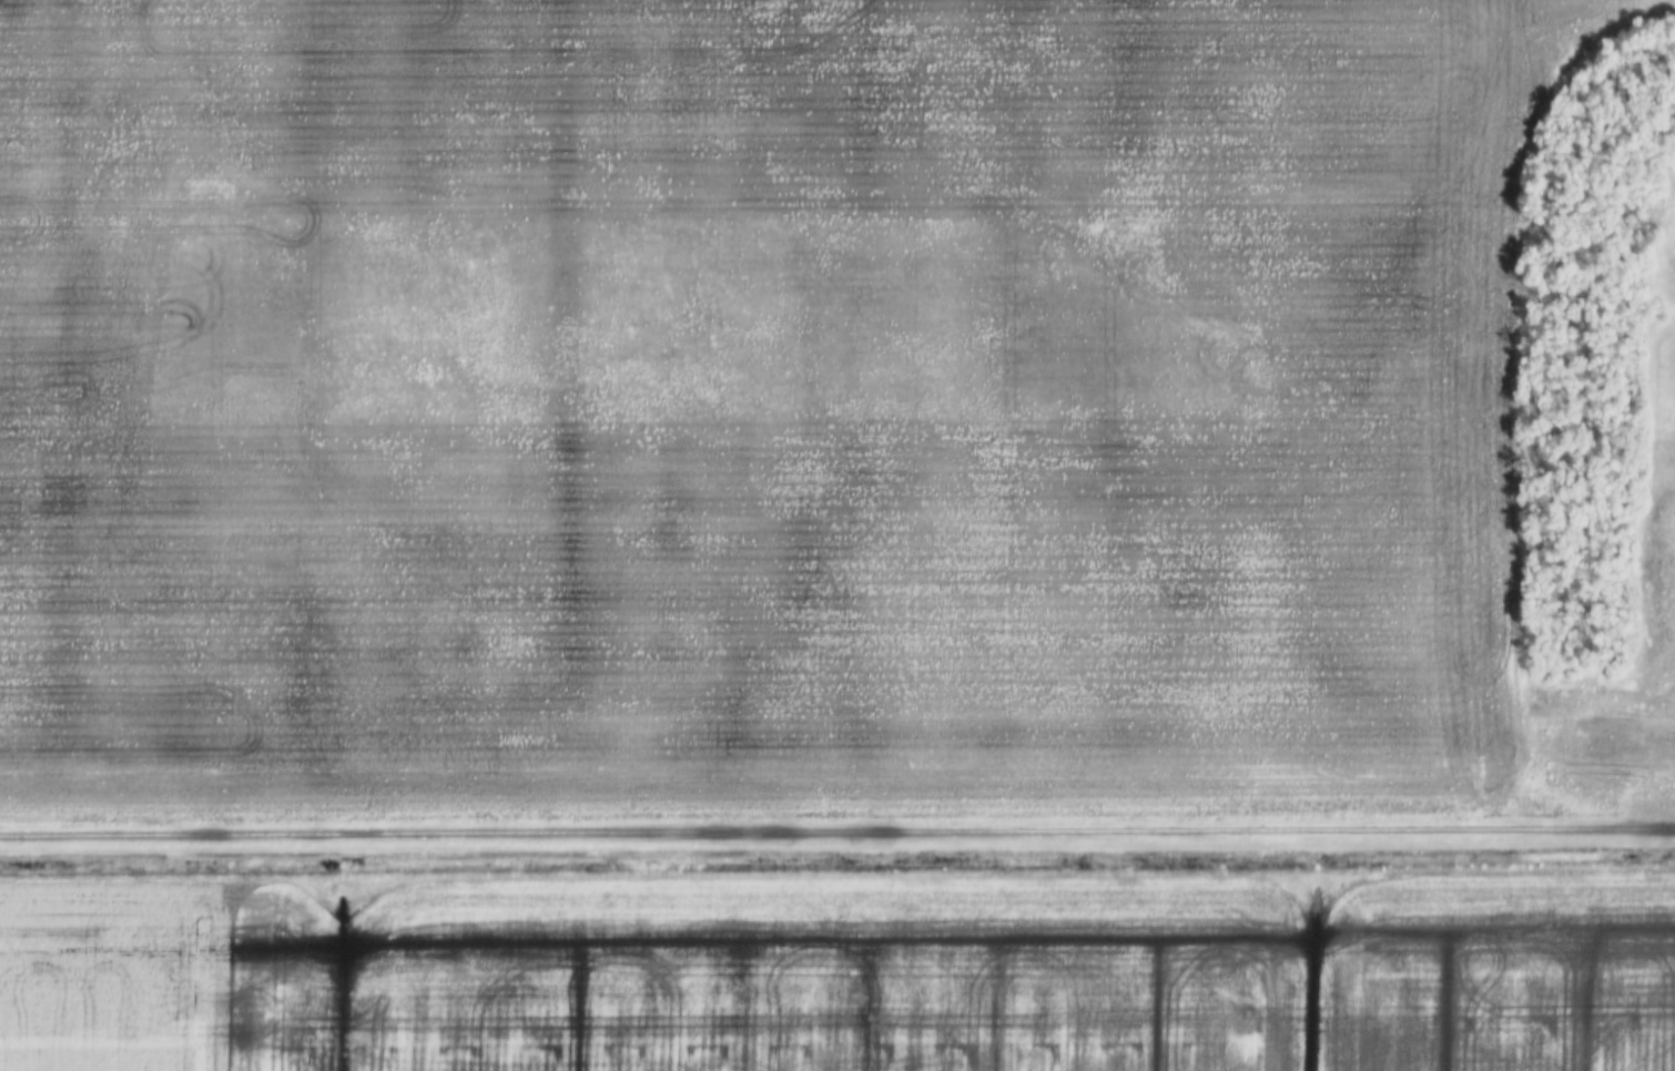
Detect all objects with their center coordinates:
crop: (789, 410)
road: (837, 834)
crop: (102, 975)
crop: (944, 975)

